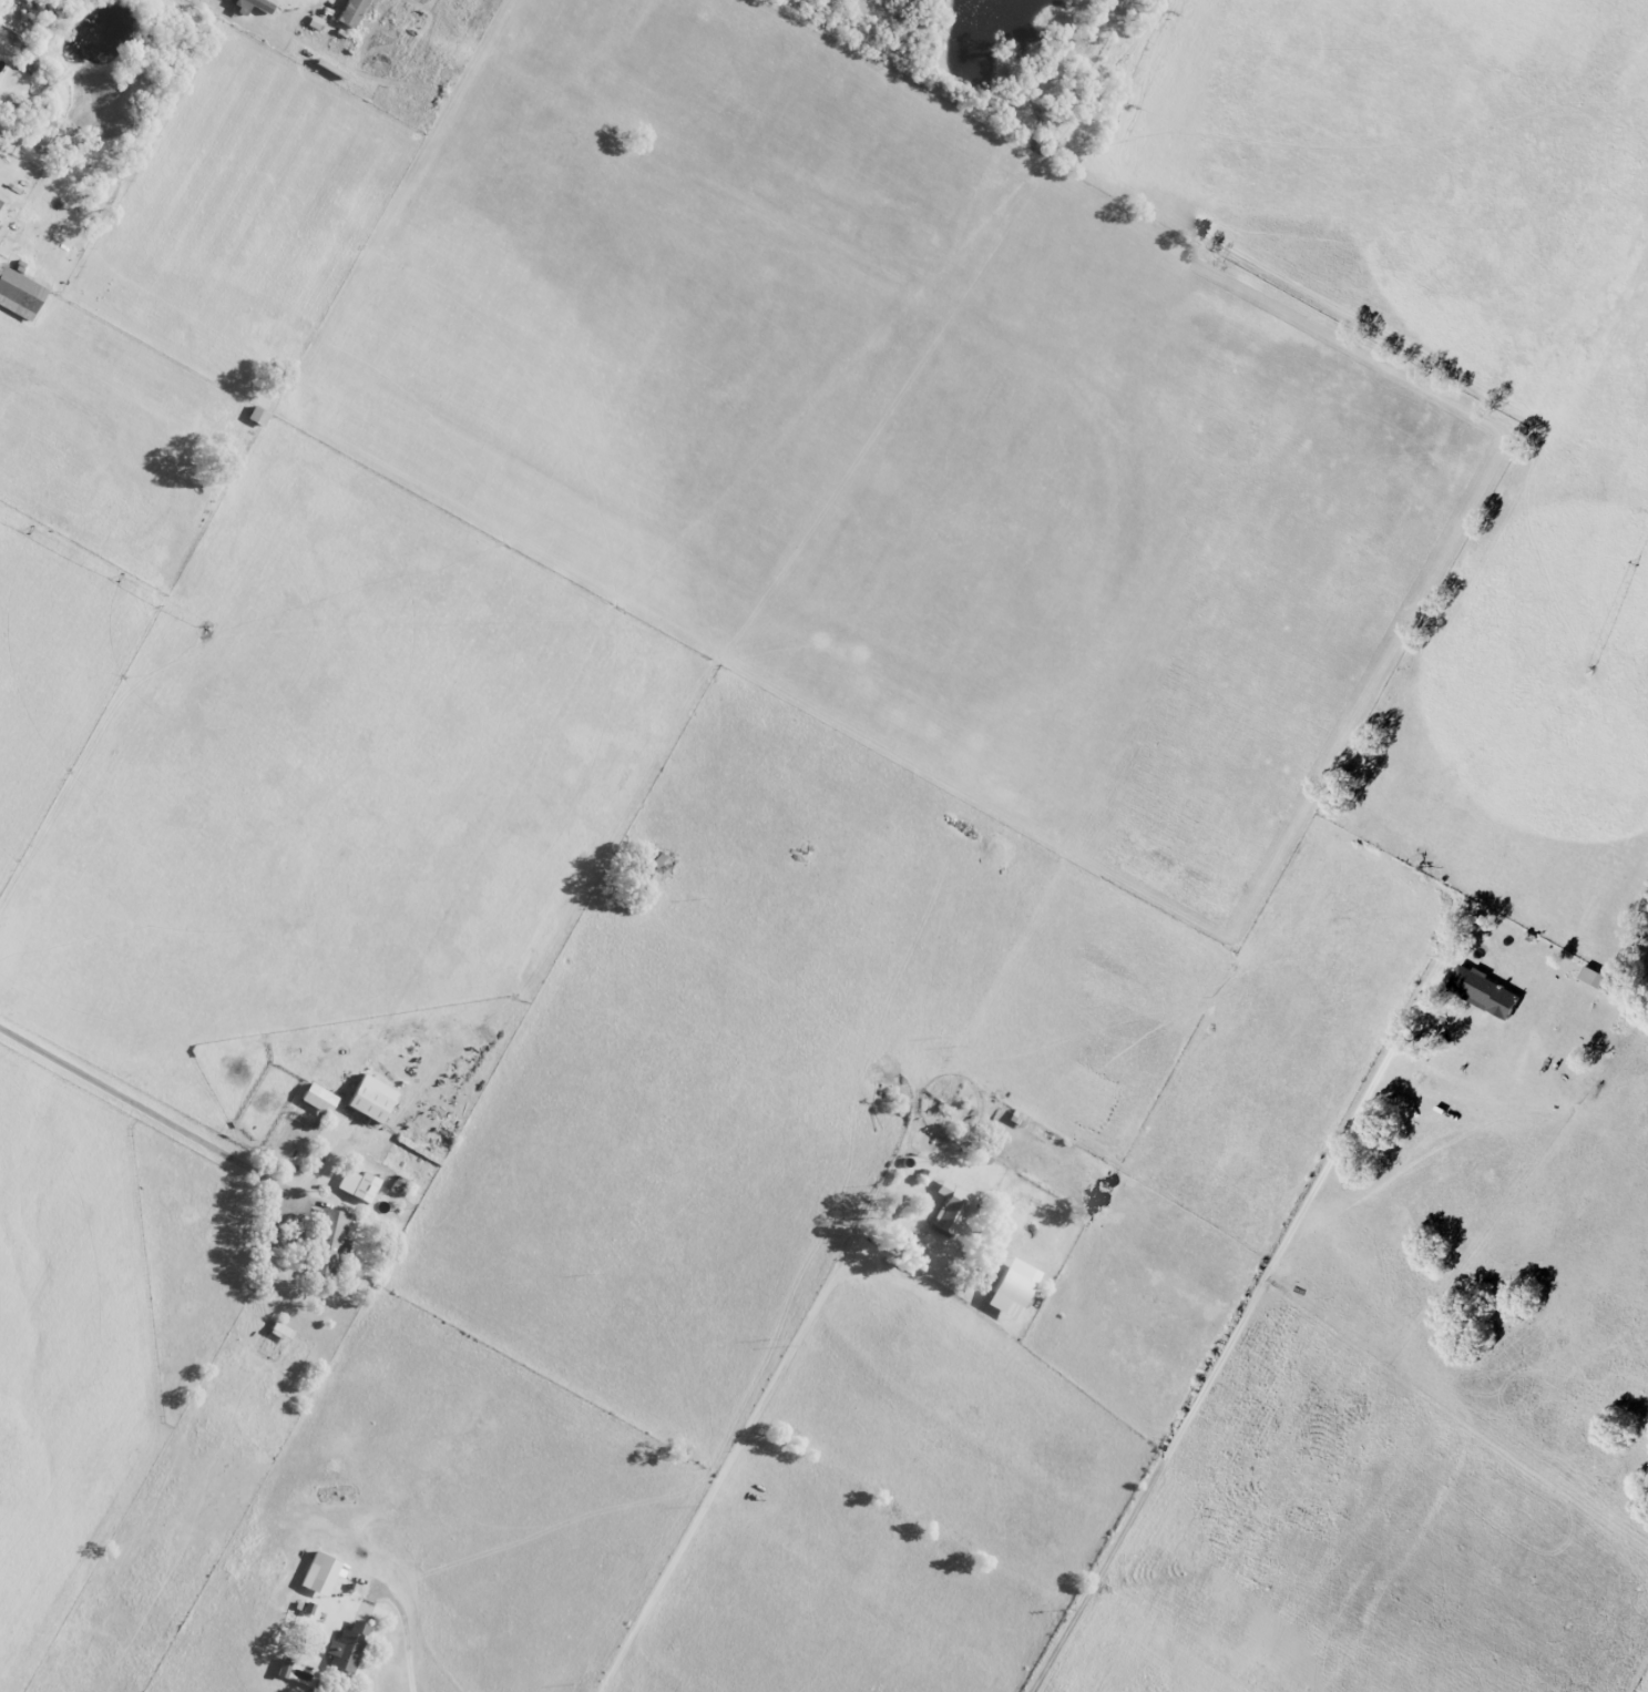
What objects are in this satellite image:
building: (250, 4)
building: (348, 12)
building: (18, 295)
building: (1481, 991)
building: (320, 1099)
building: (375, 1099)
road: (152, 1113)
building: (360, 1185)
building: (949, 1209)
building: (332, 1232)
building: (1007, 1288)
road: (1234, 1333)
road: (746, 1436)
building: (325, 1573)
road: (403, 1632)
building: (350, 1648)
building: (286, 1668)

